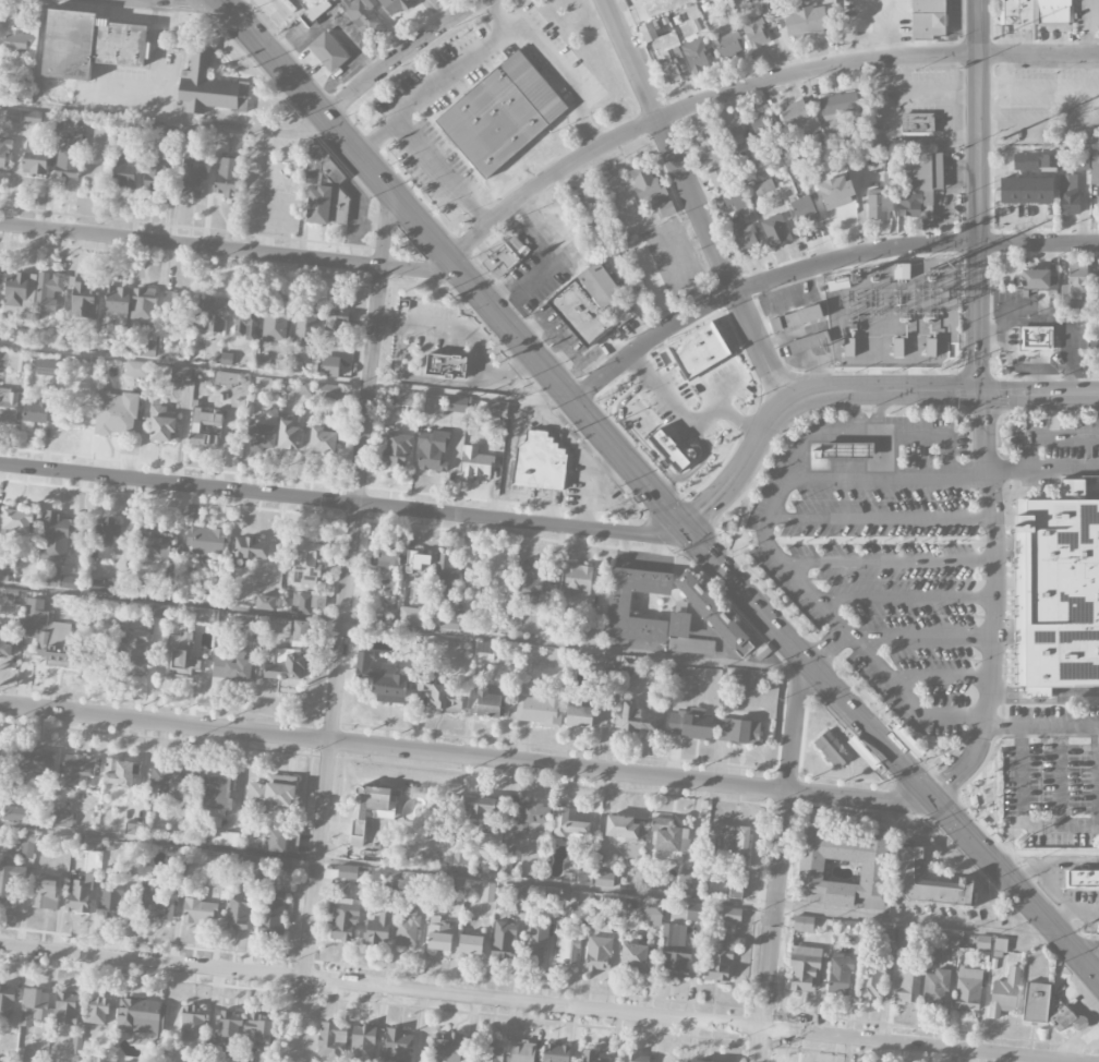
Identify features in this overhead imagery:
road: (183, 4)
building: (395, 7)
traffic signals: (226, 9)
building: (318, 11)
building: (1037, 11)
building: (361, 14)
road: (496, 15)
building: (927, 17)
building: (805, 20)
building: (753, 31)
building: (648, 32)
power tower: (992, 39)
road: (493, 40)
building: (727, 43)
building: (89, 44)
building: (16, 45)
building: (328, 51)
road: (401, 55)
building: (696, 55)
building: (669, 67)
building: (25, 82)
road: (750, 84)
building: (208, 86)
building: (838, 106)
building: (12, 114)
building: (500, 114)
building: (31, 118)
building: (798, 118)
road: (165, 121)
building: (917, 123)
building: (764, 128)
power tower: (1002, 140)
building: (736, 142)
building: (708, 147)
building: (3, 154)
building: (69, 157)
building: (1034, 160)
building: (34, 161)
building: (1074, 161)
building: (1095, 167)
building: (156, 171)
road: (444, 172)
building: (123, 174)
building: (226, 176)
building: (923, 177)
building: (192, 180)
building: (644, 180)
building: (718, 181)
building: (763, 186)
building: (1026, 190)
building: (835, 192)
building: (1068, 194)
road: (977, 196)
building: (735, 201)
road: (696, 202)
building: (879, 204)
building: (910, 204)
building: (318, 205)
building: (666, 208)
building: (802, 209)
building: (337, 216)
road: (386, 229)
building: (775, 230)
building: (745, 238)
road: (230, 250)
road: (937, 251)
building: (502, 255)
road: (451, 261)
road: (544, 263)
road: (816, 264)
power tower: (950, 265)
power tower: (932, 268)
power tower: (873, 270)
building: (901, 271)
building: (648, 273)
building: (1034, 278)
building: (1076, 278)
building: (841, 283)
building: (1097, 283)
building: (49, 292)
building: (19, 293)
building: (605, 293)
building: (82, 300)
building: (116, 301)
building: (143, 303)
building: (177, 304)
building: (213, 314)
building: (580, 314)
power substation: (895, 314)
building: (796, 318)
building: (244, 322)
building: (274, 326)
building: (305, 327)
building: (335, 330)
building: (1035, 338)
road: (471, 339)
building: (871, 339)
building: (104, 341)
building: (917, 342)
building: (804, 343)
building: (699, 350)
building: (1094, 354)
building: (17, 362)
building: (294, 364)
building: (445, 365)
building: (329, 366)
building: (46, 367)
building: (135, 369)
building: (173, 374)
road: (287, 376)
building: (225, 377)
road: (416, 377)
road: (901, 378)
road: (937, 379)
building: (327, 391)
road: (720, 391)
road: (860, 391)
traffic signals: (982, 394)
building: (403, 400)
building: (8, 406)
building: (495, 408)
building: (457, 409)
road: (881, 409)
building: (33, 411)
road: (857, 411)
building: (116, 413)
road: (687, 414)
building: (161, 423)
building: (203, 425)
road: (877, 433)
building: (259, 435)
building: (288, 435)
road: (571, 438)
building: (322, 439)
road: (1048, 439)
building: (396, 449)
building: (432, 449)
building: (668, 449)
building: (847, 450)
gas station: (847, 450)
road: (653, 455)
building: (820, 455)
road: (884, 455)
road: (508, 459)
building: (475, 462)
building: (538, 462)
road: (942, 478)
road: (593, 486)
road: (341, 500)
road: (881, 518)
building: (15, 520)
traffic signals: (683, 526)
building: (55, 538)
building: (104, 538)
road: (846, 539)
building: (205, 540)
building: (156, 544)
building: (251, 547)
building: (388, 557)
building: (307, 562)
building: (416, 562)
road: (889, 563)
building: (3, 570)
building: (51, 577)
building: (387, 578)
building: (578, 579)
building: (529, 580)
parking lot: (933, 586)
building: (1059, 591)
building: (446, 593)
road: (746, 595)
road: (905, 598)
building: (301, 602)
building: (265, 603)
road: (995, 606)
building: (618, 612)
building: (410, 614)
building: (713, 614)
building: (35, 617)
road: (841, 626)
road: (400, 629)
building: (300, 631)
building: (592, 637)
road: (895, 637)
building: (4, 644)
building: (59, 644)
building: (484, 648)
building: (133, 654)
building: (182, 657)
building: (601, 661)
road: (339, 664)
building: (362, 665)
building: (233, 668)
building: (286, 669)
building: (740, 677)
road: (939, 677)
building: (389, 685)
road: (1043, 692)
building: (439, 697)
building: (487, 702)
road: (843, 703)
building: (541, 707)
building: (582, 715)
building: (633, 717)
building: (690, 724)
road: (1041, 725)
road: (795, 726)
building: (738, 731)
road: (395, 747)
building: (831, 749)
building: (36, 761)
road: (903, 767)
building: (76, 769)
building: (117, 772)
road: (1060, 775)
building: (271, 793)
traffic signals: (929, 795)
building: (216, 796)
road: (859, 798)
building: (367, 808)
building: (479, 808)
building: (14, 812)
road: (1022, 814)
building: (62, 819)
building: (524, 821)
building: (569, 823)
building: (620, 826)
building: (225, 838)
building: (668, 838)
building: (277, 841)
building: (26, 843)
building: (727, 843)
road: (1046, 853)
building: (177, 854)
building: (220, 859)
building: (460, 859)
building: (282, 865)
road: (1052, 865)
building: (810, 870)
building: (347, 871)
building: (582, 878)
building: (604, 879)
building: (1083, 880)
building: (10, 881)
building: (391, 882)
building: (928, 882)
road: (526, 883)
building: (688, 883)
road: (1014, 886)
road: (1056, 888)
building: (456, 889)
building: (735, 891)
building: (45, 892)
building: (487, 892)
building: (518, 894)
building: (78, 895)
building: (109, 902)
building: (156, 902)
building: (197, 908)
building: (581, 910)
building: (273, 912)
road: (1073, 912)
building: (653, 913)
building: (238, 914)
building: (697, 915)
building: (730, 915)
building: (345, 919)
building: (804, 925)
road: (773, 926)
building: (854, 929)
building: (377, 930)
building: (407, 931)
building: (891, 933)
building: (438, 934)
building: (901, 936)
building: (504, 939)
building: (535, 941)
building: (947, 941)
building: (983, 942)
building: (470, 944)
building: (1000, 948)
road: (1085, 949)
building: (566, 951)
building: (674, 951)
building: (597, 953)
building: (633, 955)
building: (805, 968)
building: (840, 975)
building: (872, 981)
building: (937, 983)
building: (907, 987)
building: (968, 989)
building: (1004, 993)
road: (539, 1002)
building: (1036, 1003)
building: (5, 1005)
building: (48, 1007)
building: (98, 1010)
building: (141, 1015)
building: (1067, 1019)
building: (193, 1024)
building: (257, 1030)
building: (228, 1033)
building: (331, 1040)
building: (362, 1042)
building: (397, 1046)
building: (448, 1047)
building: (492, 1050)
building: (522, 1051)
building: (555, 1053)
building: (24, 1054)
building: (590, 1057)
building: (635, 1058)
building: (140, 1061)
building: (698, 1061)

